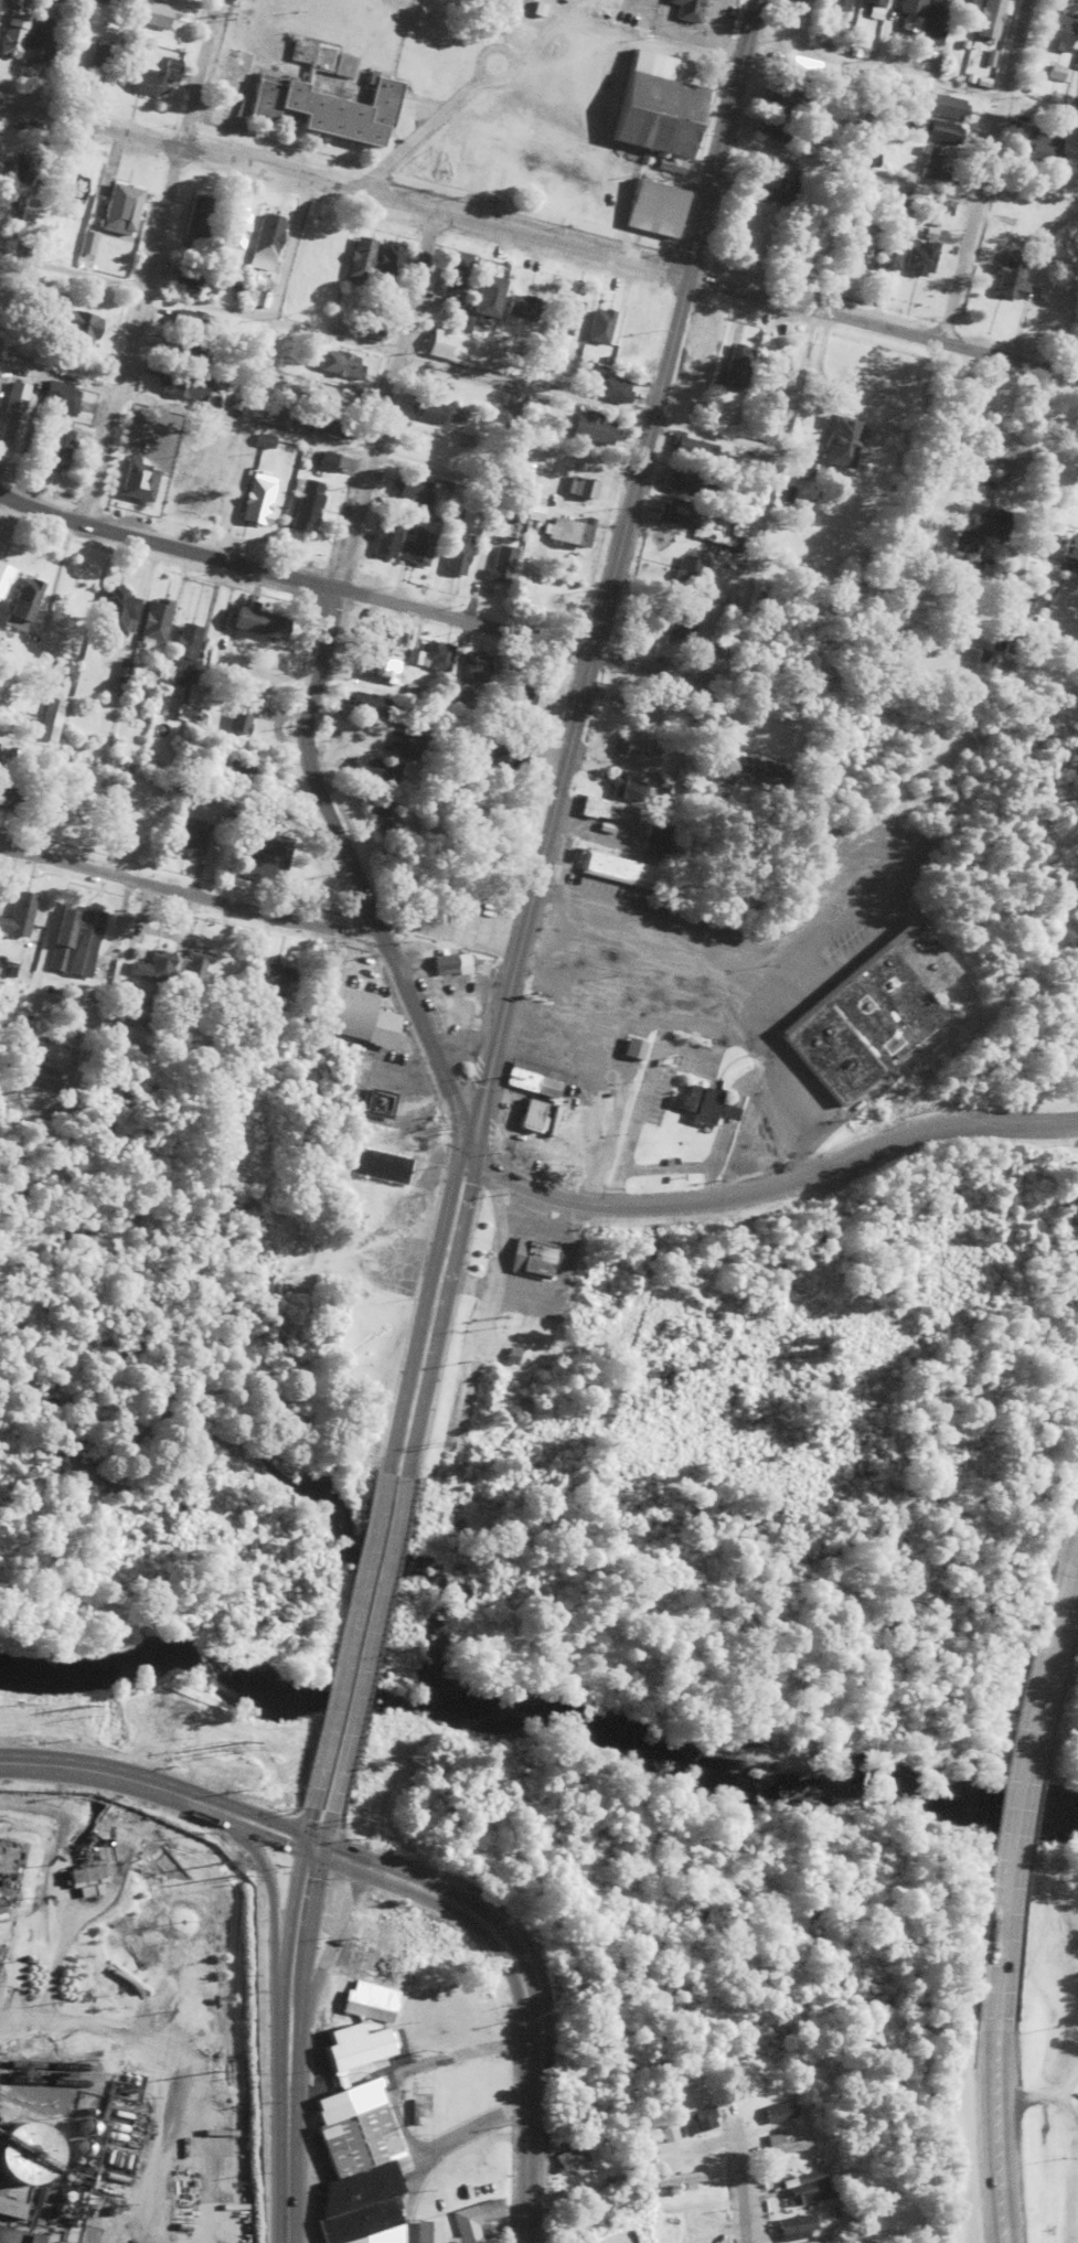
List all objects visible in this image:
road: (193, 4)
road: (529, 62)
road: (1038, 111)
road: (982, 170)
road: (344, 188)
road: (23, 211)
road: (147, 260)
road: (883, 325)
road: (324, 337)
road: (258, 366)
road: (247, 426)
road: (493, 503)
road: (751, 555)
road: (615, 564)
road: (293, 576)
road: (310, 682)
road: (190, 893)
road: (767, 1181)
road: (430, 1282)
road: (445, 1283)
road: (1072, 1563)
road: (348, 1638)
road: (366, 1642)
road: (1022, 1766)
road: (106, 1773)
road: (255, 1823)
road: (311, 1843)
road: (268, 1899)
road: (281, 1966)
road: (302, 1969)
road: (521, 1985)
road: (996, 1986)
road: (124, 2036)
railway: (45, 2065)
road: (405, 2065)
railway: (44, 2080)
road: (994, 2085)
road: (287, 2168)
road: (999, 2198)
road: (739, 2208)

